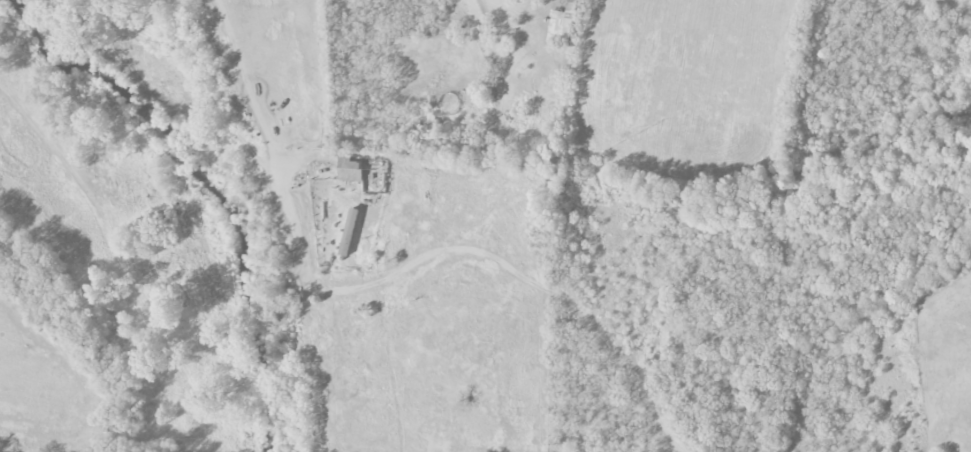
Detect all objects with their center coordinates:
building: (562, 24)
road: (323, 98)
road: (272, 125)
building: (349, 169)
building: (347, 233)

